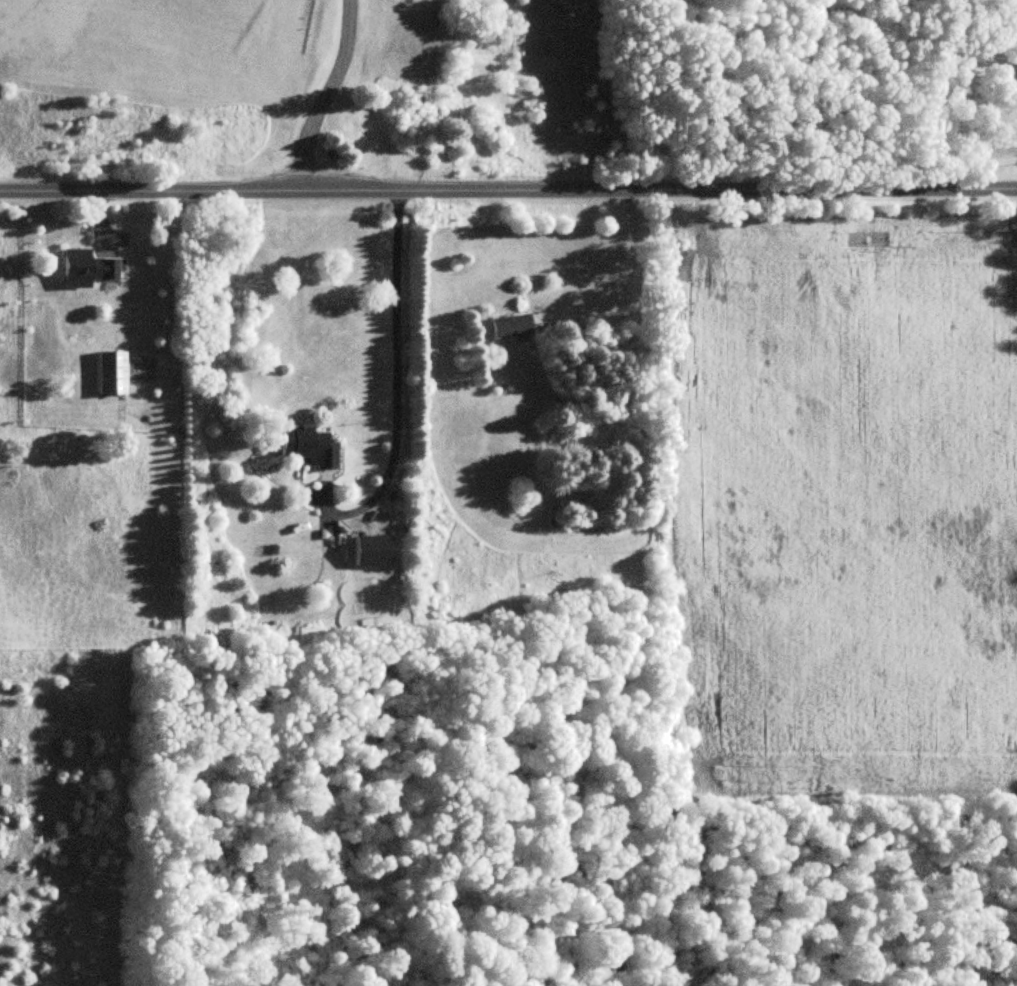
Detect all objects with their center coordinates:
park: (304, 78)
road: (329, 95)
road: (508, 184)
building: (74, 263)
road: (588, 292)
building: (509, 326)
building: (47, 367)
building: (110, 373)
road: (395, 381)
building: (307, 448)

